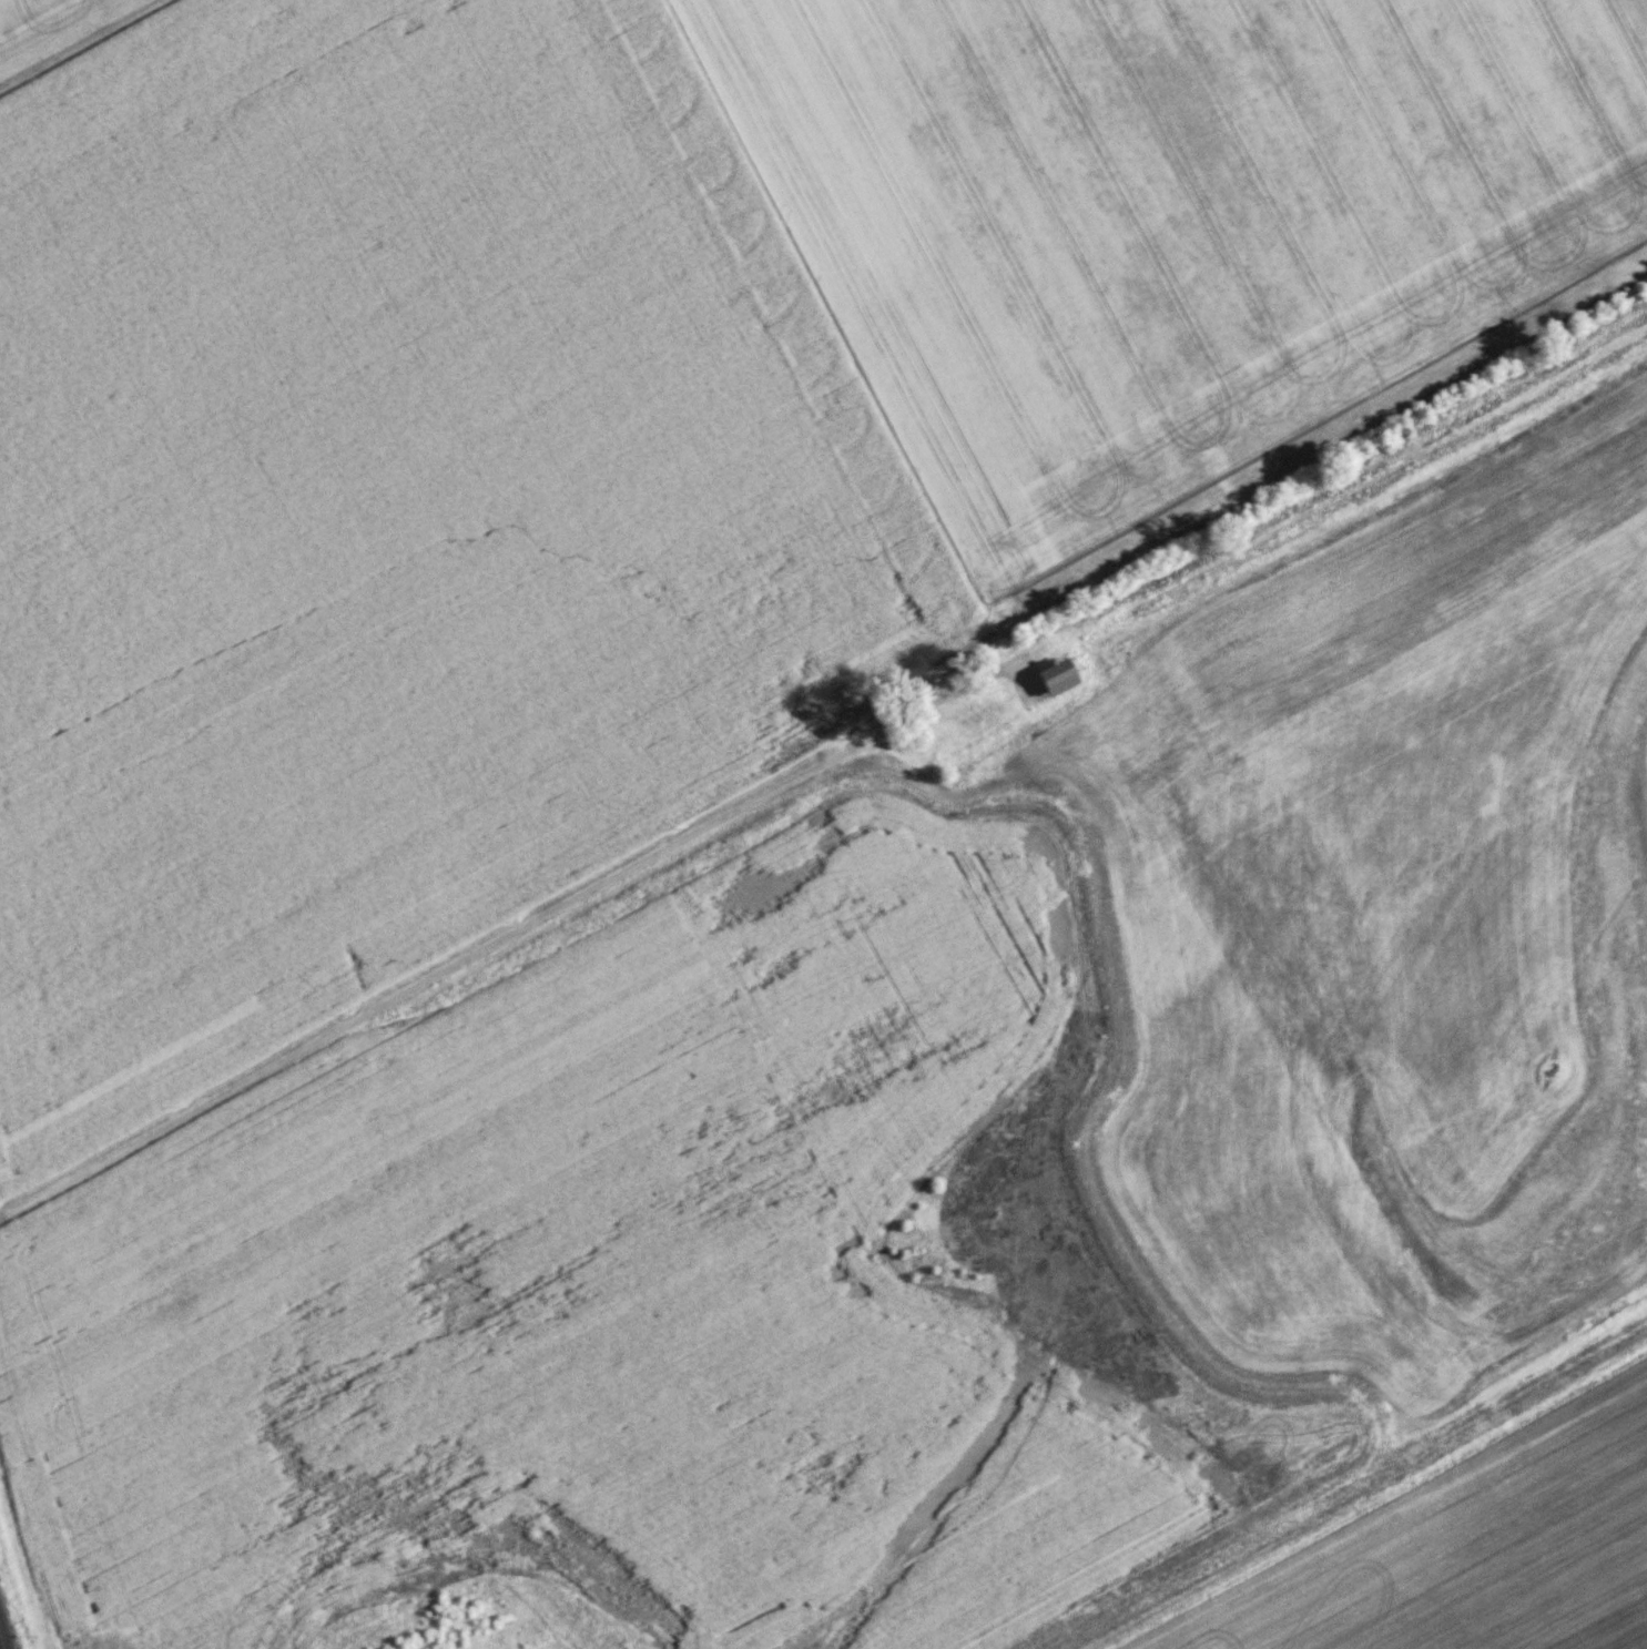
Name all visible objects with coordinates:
building: (1053, 674)
road: (502, 936)
railway: (4, 1630)

